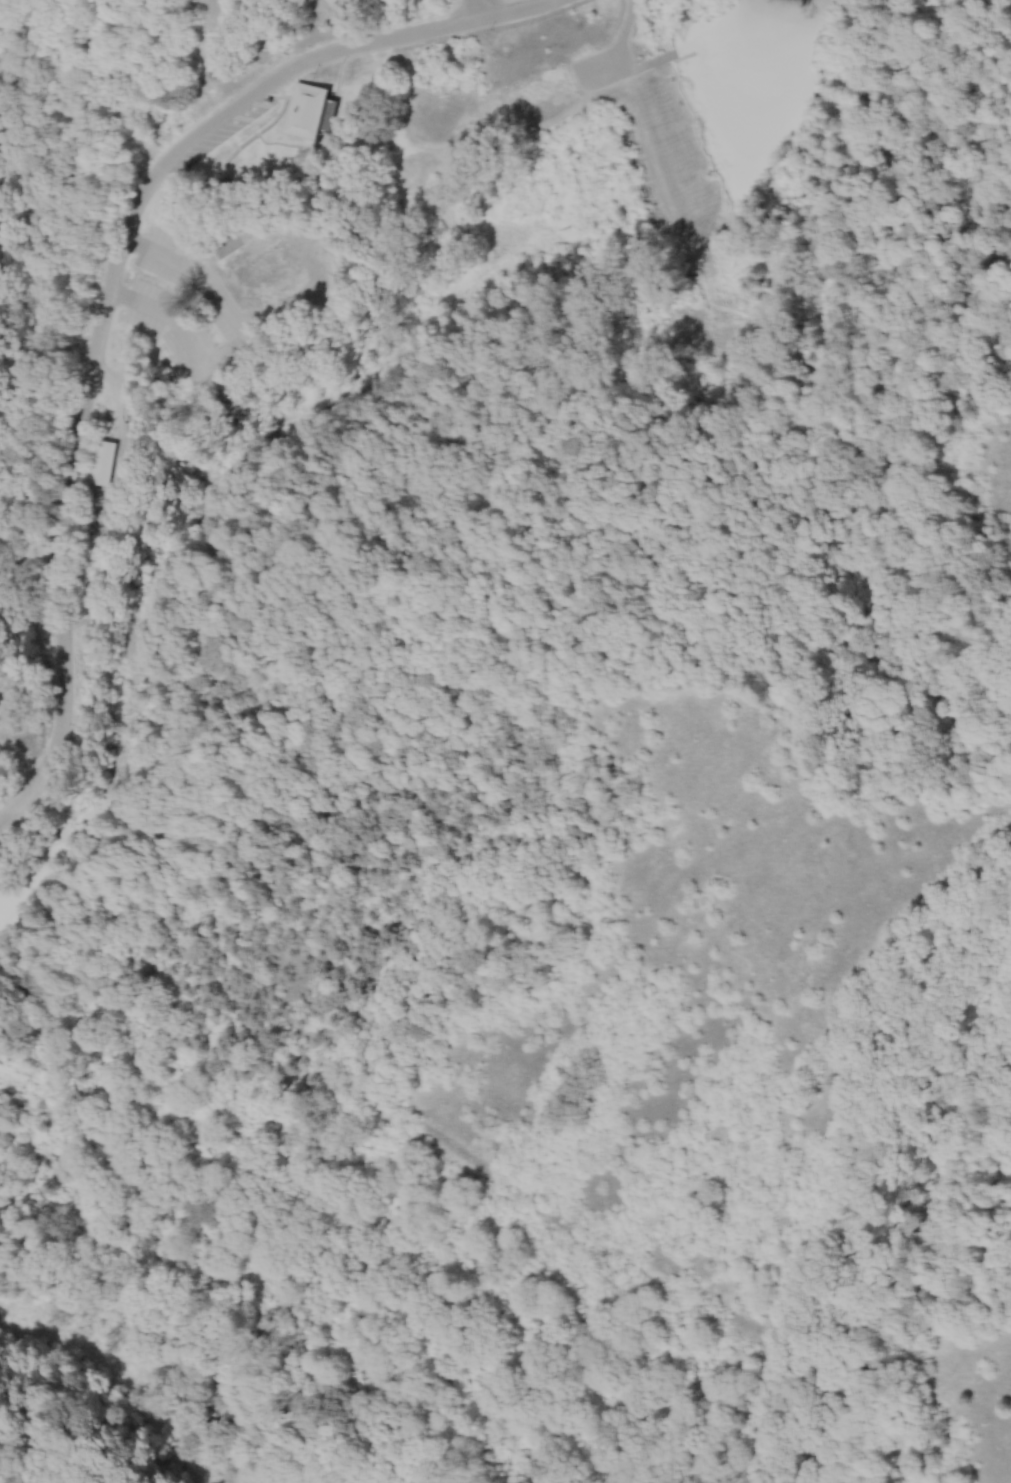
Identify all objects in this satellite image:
building: (333, 1)
road: (476, 8)
parking lot: (610, 57)
building: (314, 108)
building: (272, 266)
road: (107, 284)
building: (106, 457)

